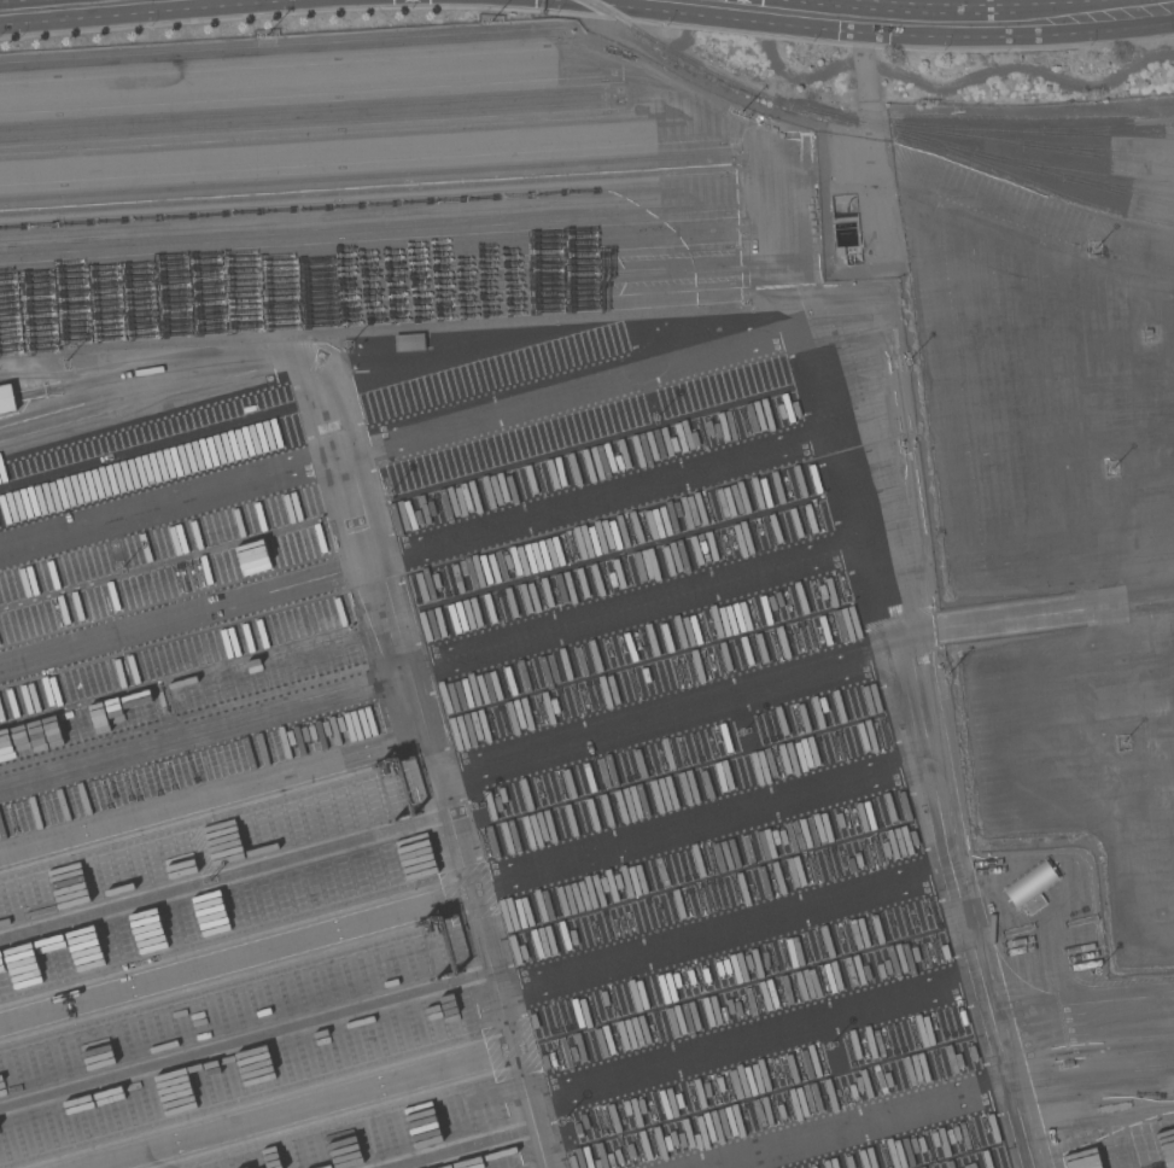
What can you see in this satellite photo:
road: (755, 1)
road: (775, 1)
road: (43, 4)
road: (975, 19)
railway: (281, 52)
railway: (310, 109)
railway: (310, 121)
railway: (871, 125)
railway: (1109, 130)
railway: (1032, 132)
railway: (989, 139)
railway: (1097, 148)
railway: (1073, 170)
railway: (370, 177)
railway: (1034, 181)
railway: (1117, 187)
railway: (370, 188)
railway: (372, 250)
railway: (373, 261)
railway: (374, 317)
building: (409, 343)
building: (6, 398)
road: (1111, 411)
road: (354, 478)
road: (907, 596)
road: (1155, 742)
building: (1032, 888)
road: (471, 898)

